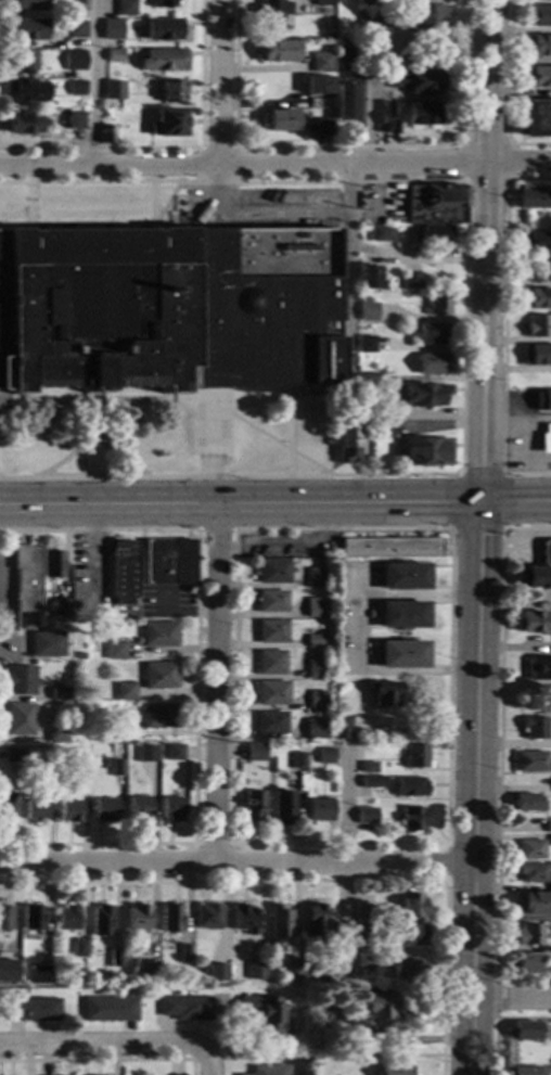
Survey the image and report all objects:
building: (538, 0)
building: (323, 2)
building: (370, 2)
building: (162, 3)
building: (25, 4)
building: (80, 5)
building: (124, 8)
building: (272, 11)
building: (538, 15)
building: (360, 17)
building: (426, 17)
building: (377, 20)
building: (111, 26)
building: (76, 29)
building: (166, 29)
building: (24, 30)
building: (376, 34)
building: (538, 46)
building: (374, 48)
building: (278, 51)
building: (114, 55)
building: (73, 60)
building: (164, 60)
building: (20, 61)
building: (325, 65)
building: (127, 73)
building: (536, 77)
building: (417, 81)
road: (89, 84)
road: (220, 84)
building: (318, 85)
building: (110, 87)
building: (75, 88)
building: (172, 91)
building: (26, 92)
road: (509, 92)
building: (344, 102)
building: (422, 114)
building: (388, 117)
road: (361, 118)
building: (536, 118)
building: (277, 120)
building: (73, 121)
building: (23, 123)
building: (167, 123)
building: (323, 126)
building: (106, 135)
road: (507, 144)
road: (347, 148)
road: (175, 149)
road: (217, 149)
road: (275, 166)
road: (30, 191)
building: (533, 197)
road: (166, 203)
building: (435, 205)
road: (153, 206)
parking lot: (261, 208)
road: (259, 214)
road: (30, 217)
building: (381, 233)
building: (433, 234)
building: (536, 241)
road: (485, 253)
road: (414, 257)
road: (346, 273)
building: (369, 278)
building: (411, 281)
building: (536, 298)
building: (437, 304)
building: (168, 309)
building: (367, 310)
road: (465, 325)
building: (539, 327)
road: (504, 330)
building: (432, 334)
building: (367, 344)
building: (536, 355)
building: (433, 363)
building: (369, 379)
building: (422, 396)
road: (88, 401)
building: (542, 402)
building: (379, 407)
building: (359, 410)
road: (92, 415)
building: (380, 427)
road: (255, 428)
road: (91, 431)
road: (290, 431)
road: (212, 432)
building: (544, 437)
building: (347, 443)
building: (426, 452)
road: (514, 505)
traffic signals: (479, 507)
road: (239, 508)
road: (456, 528)
road: (218, 532)
building: (390, 548)
road: (293, 550)
building: (546, 552)
building: (169, 562)
road: (93, 563)
building: (53, 564)
building: (272, 571)
building: (123, 572)
building: (402, 576)
building: (26, 577)
building: (316, 577)
building: (535, 577)
building: (271, 601)
building: (62, 607)
building: (315, 607)
road: (180, 613)
building: (401, 614)
building: (370, 615)
building: (530, 624)
building: (271, 631)
road: (355, 632)
building: (157, 635)
building: (315, 641)
building: (48, 644)
building: (114, 651)
building: (401, 654)
building: (80, 656)
building: (270, 662)
building: (538, 668)
building: (315, 669)
building: (159, 676)
building: (21, 680)
road: (216, 684)
road: (196, 686)
building: (124, 691)
building: (60, 693)
building: (271, 693)
building: (384, 694)
building: (316, 699)
building: (157, 716)
building: (18, 719)
building: (269, 722)
building: (315, 728)
building: (338, 728)
building: (533, 728)
building: (123, 732)
building: (57, 734)
building: (254, 752)
building: (174, 753)
building: (145, 754)
building: (12, 755)
building: (324, 755)
building: (414, 756)
road: (499, 756)
building: (295, 760)
building: (530, 762)
building: (367, 767)
building: (48, 768)
building: (116, 768)
building: (372, 782)
building: (409, 786)
road: (474, 791)
building: (530, 803)
building: (253, 805)
building: (281, 805)
building: (7, 807)
building: (138, 808)
building: (171, 809)
building: (319, 809)
building: (35, 810)
building: (69, 810)
building: (104, 810)
building: (366, 816)
building: (412, 818)
building: (548, 828)
building: (550, 842)
road: (213, 845)
road: (233, 845)
building: (529, 849)
road: (346, 859)
road: (236, 862)
road: (446, 862)
building: (531, 873)
road: (319, 882)
building: (533, 904)
building: (410, 906)
building: (362, 913)
building: (207, 917)
building: (31, 918)
building: (67, 918)
building: (139, 918)
building: (170, 918)
building: (5, 919)
building: (243, 919)
building: (102, 921)
building: (313, 921)
building: (279, 922)
building: (364, 934)
building: (407, 935)
building: (527, 935)
building: (79, 948)
building: (185, 954)
building: (115, 958)
building: (366, 962)
building: (528, 964)
building: (295, 968)
building: (407, 968)
building: (146, 971)
building: (256, 971)
building: (322, 972)
building: (217, 973)
building: (40, 974)
building: (4, 978)
building: (296, 980)
road: (496, 998)
road: (510, 1001)
building: (377, 1007)
building: (184, 1009)
building: (33, 1010)
building: (107, 1010)
building: (262, 1013)
building: (323, 1015)
road: (495, 1019)
building: (523, 1031)
building: (360, 1035)
road: (103, 1046)
road: (332, 1057)
road: (206, 1059)
road: (103, 1061)
road: (209, 1063)
building: (269, 1070)
building: (393, 1070)
building: (526, 1071)

